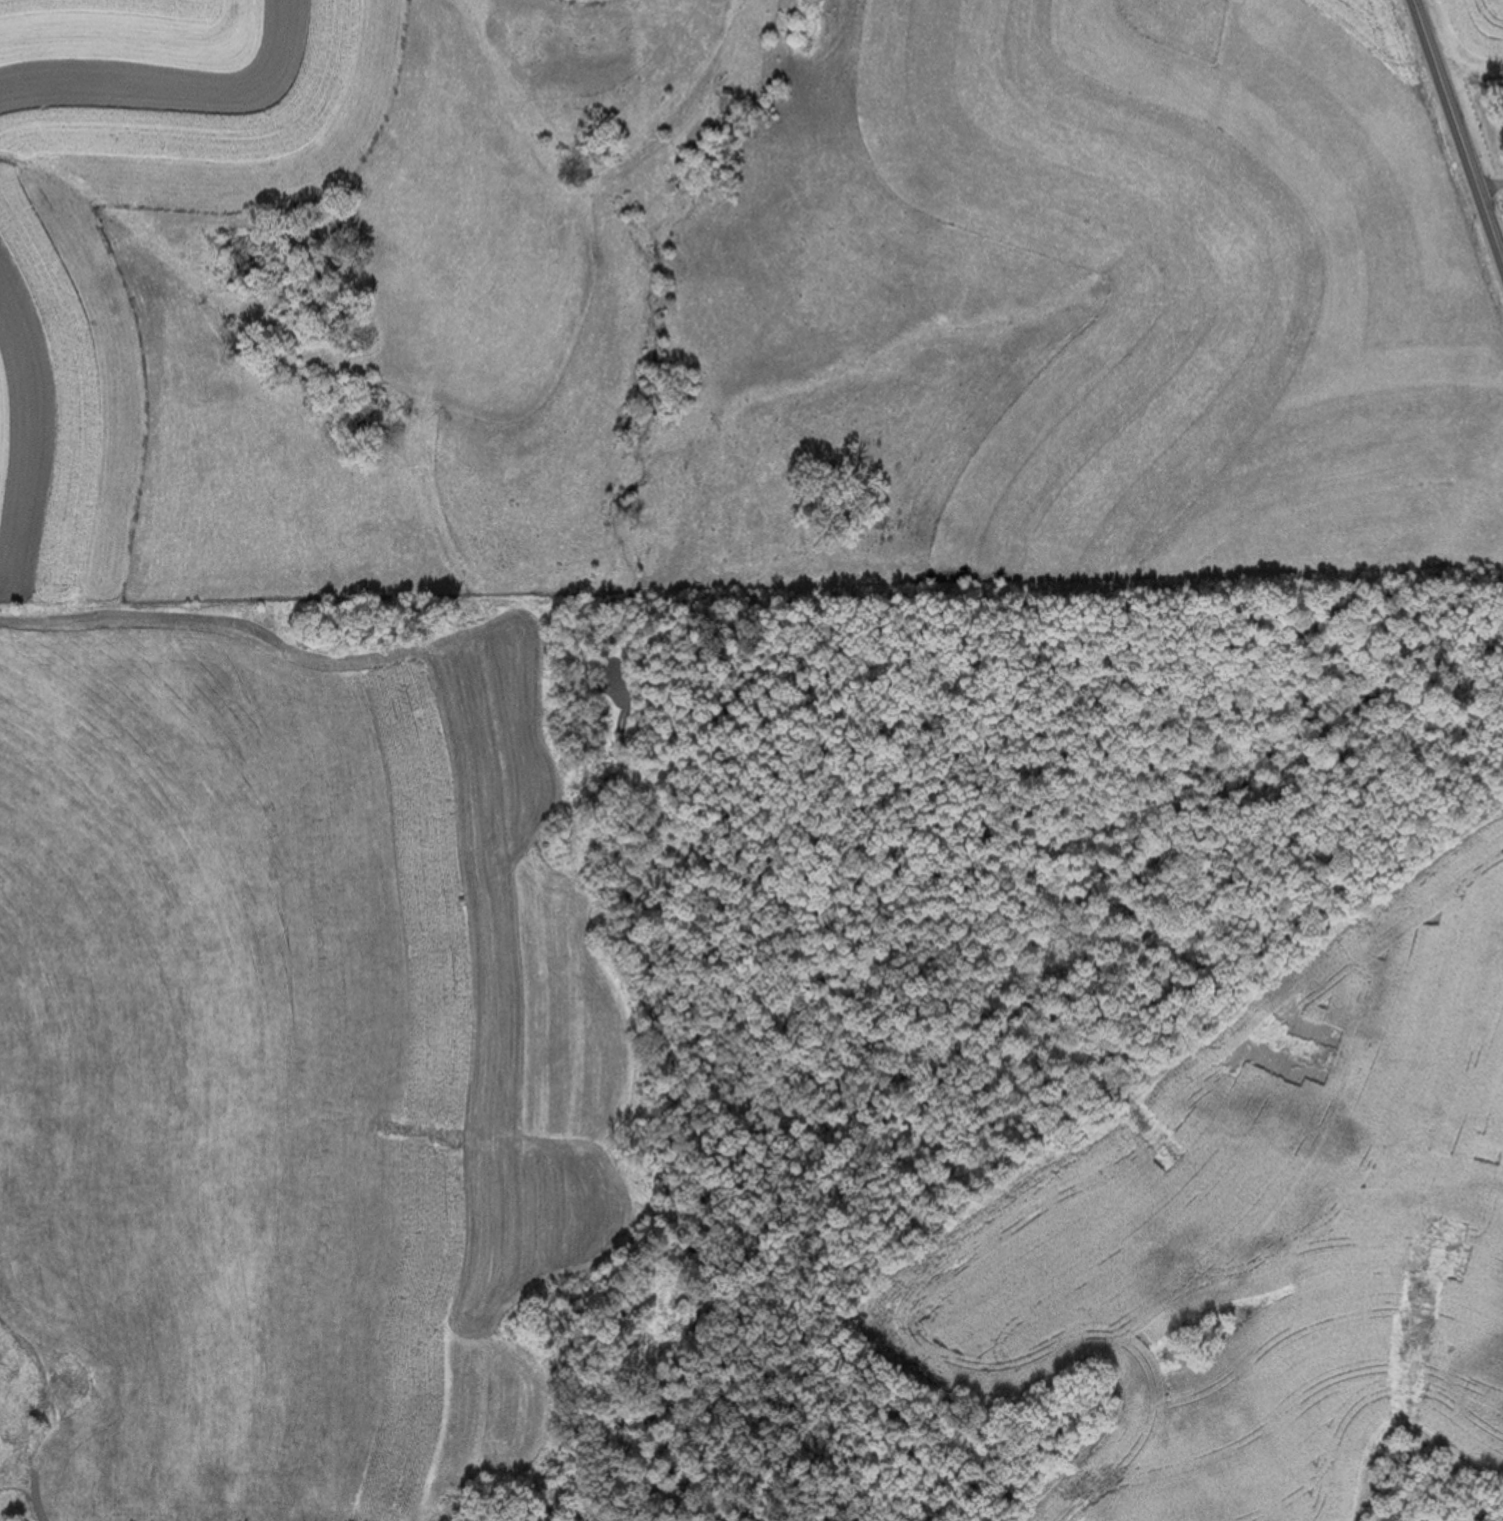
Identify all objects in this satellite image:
road: (1456, 134)

